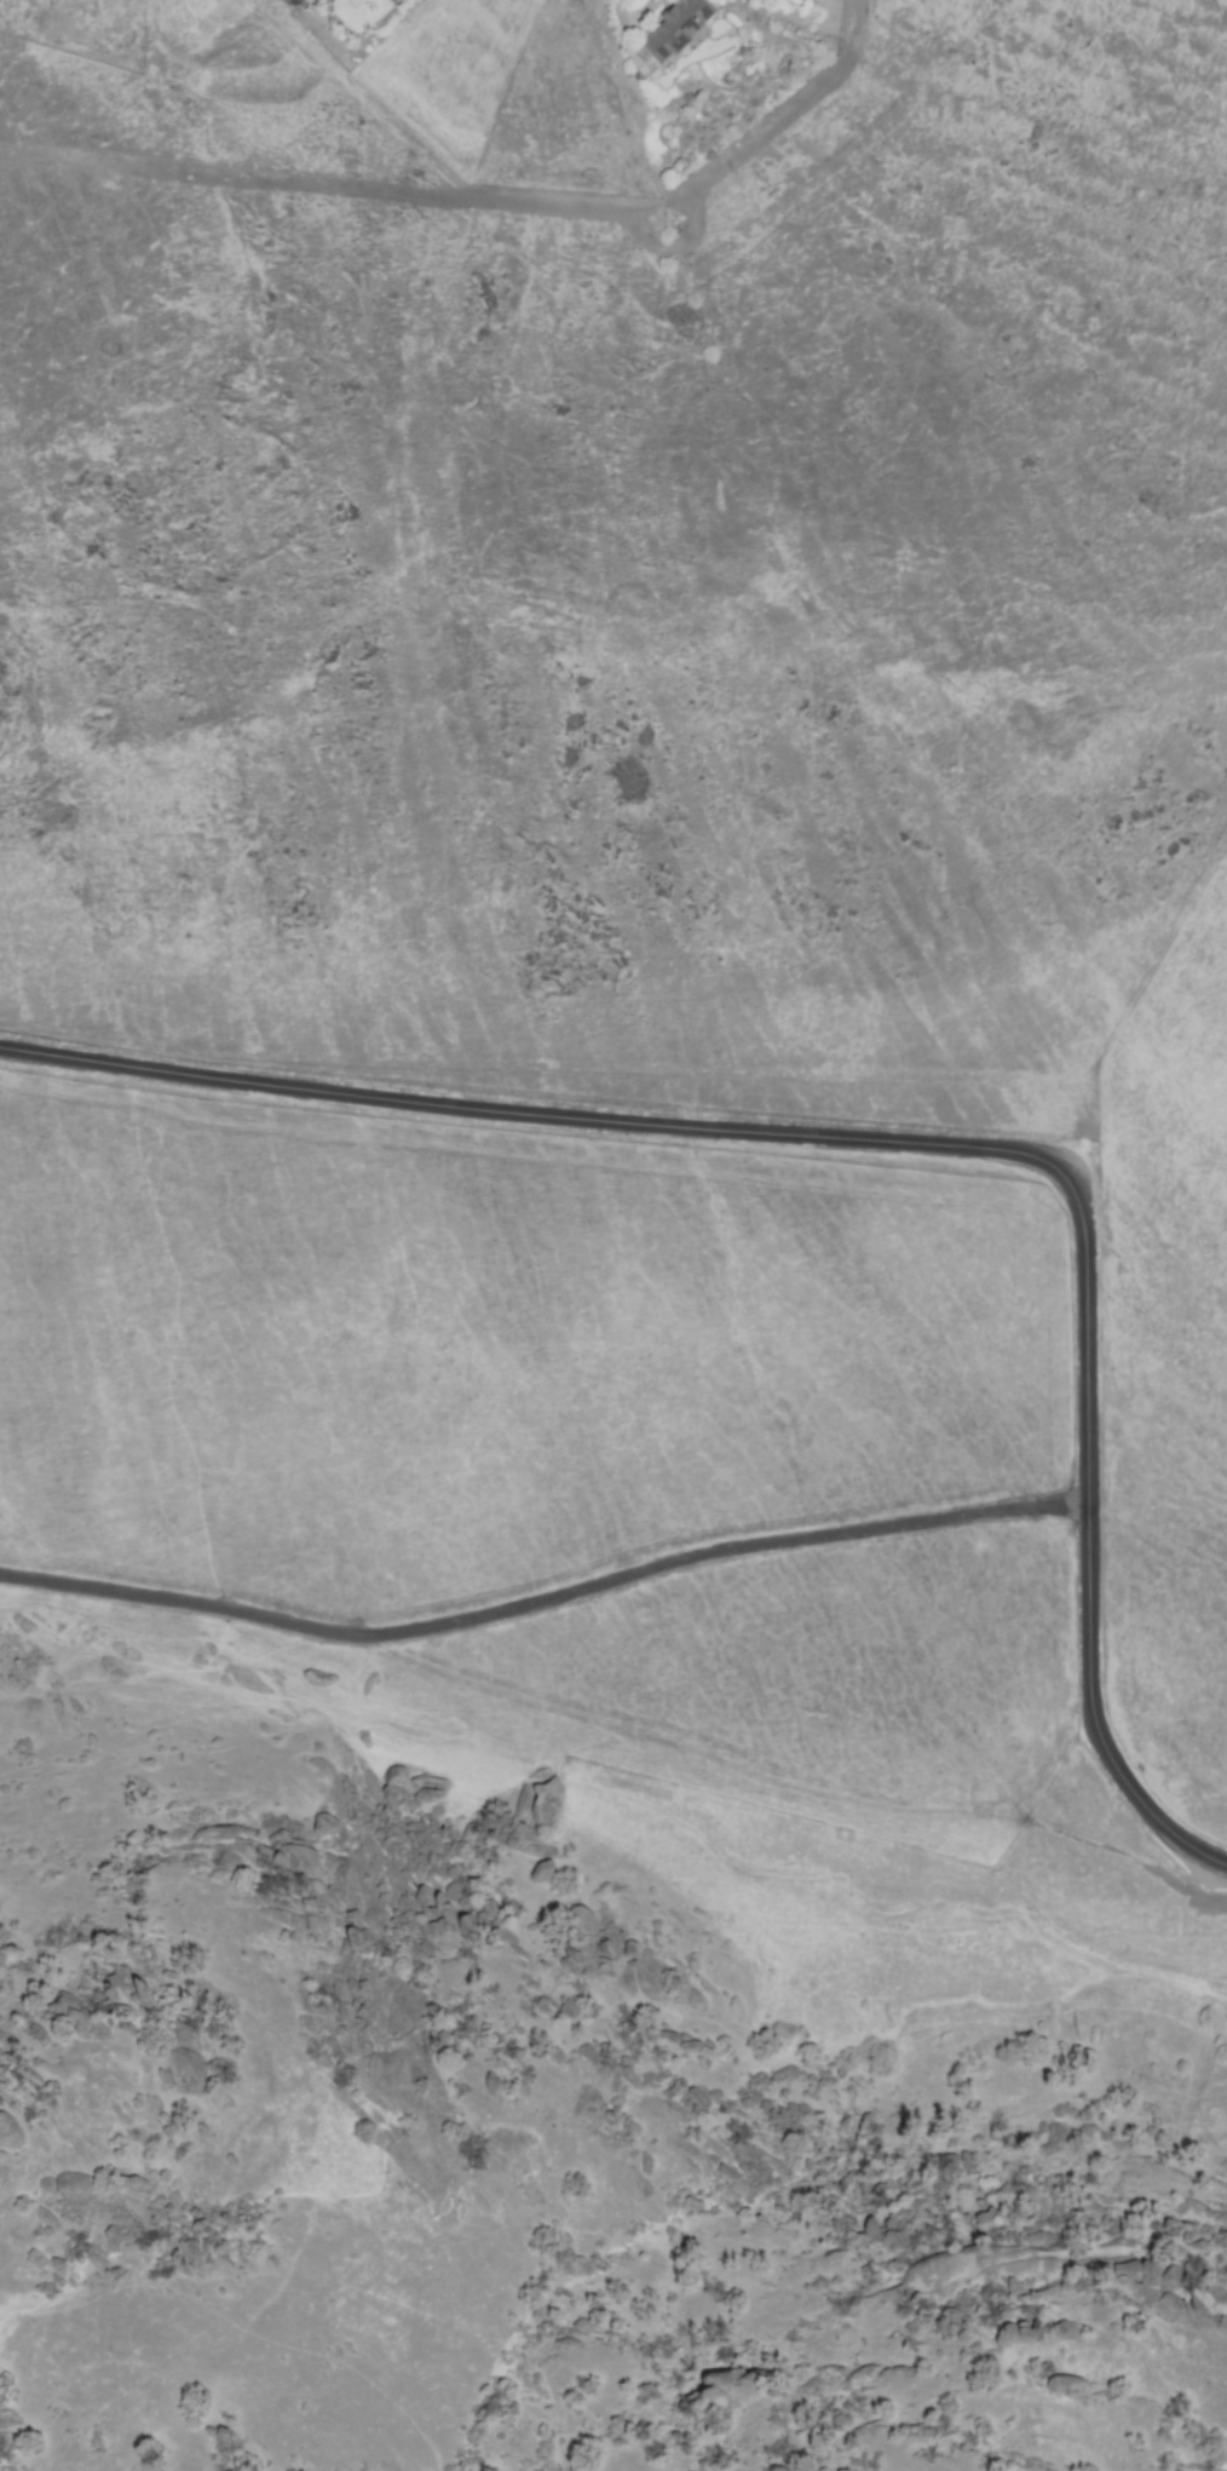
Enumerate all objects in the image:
road: (630, 18)
building: (679, 30)
road: (908, 1143)

